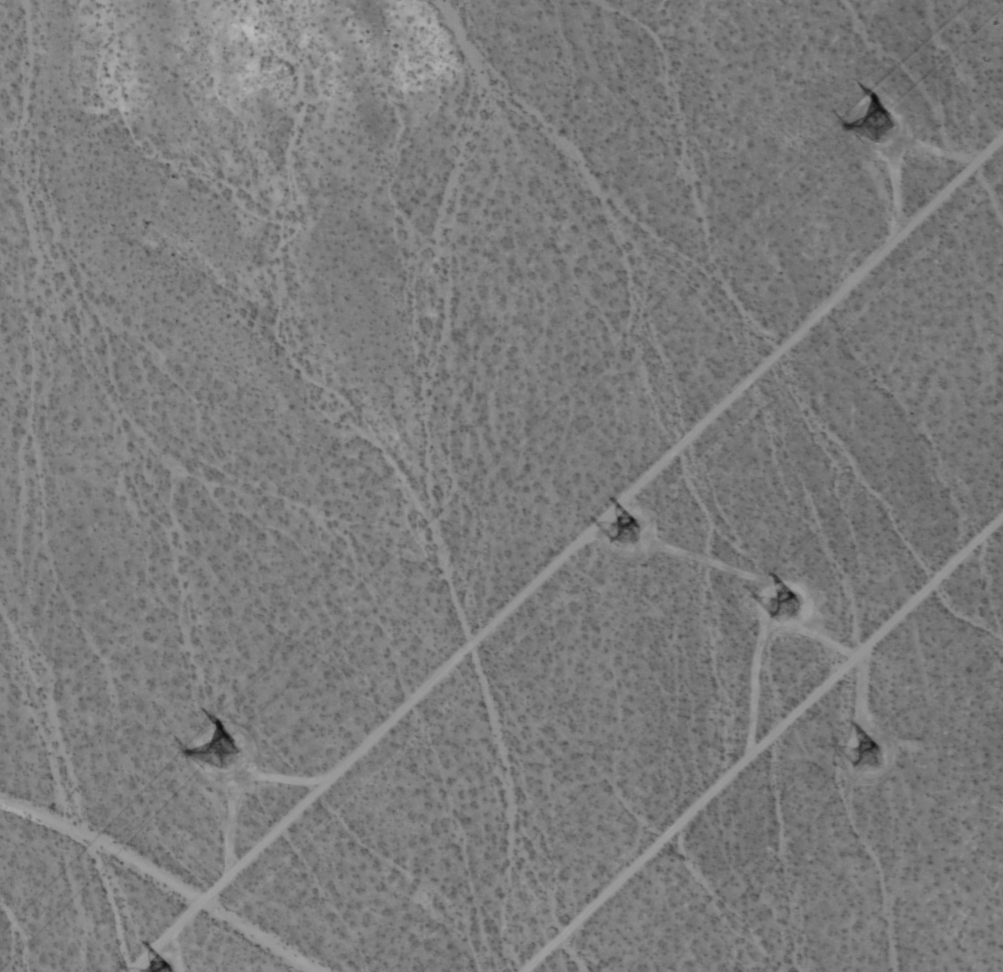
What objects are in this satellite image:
power tower: (877, 129)
power tower: (616, 533)
road: (566, 553)
power tower: (790, 604)
road: (765, 744)
power tower: (215, 757)
power tower: (870, 757)
road: (160, 880)

